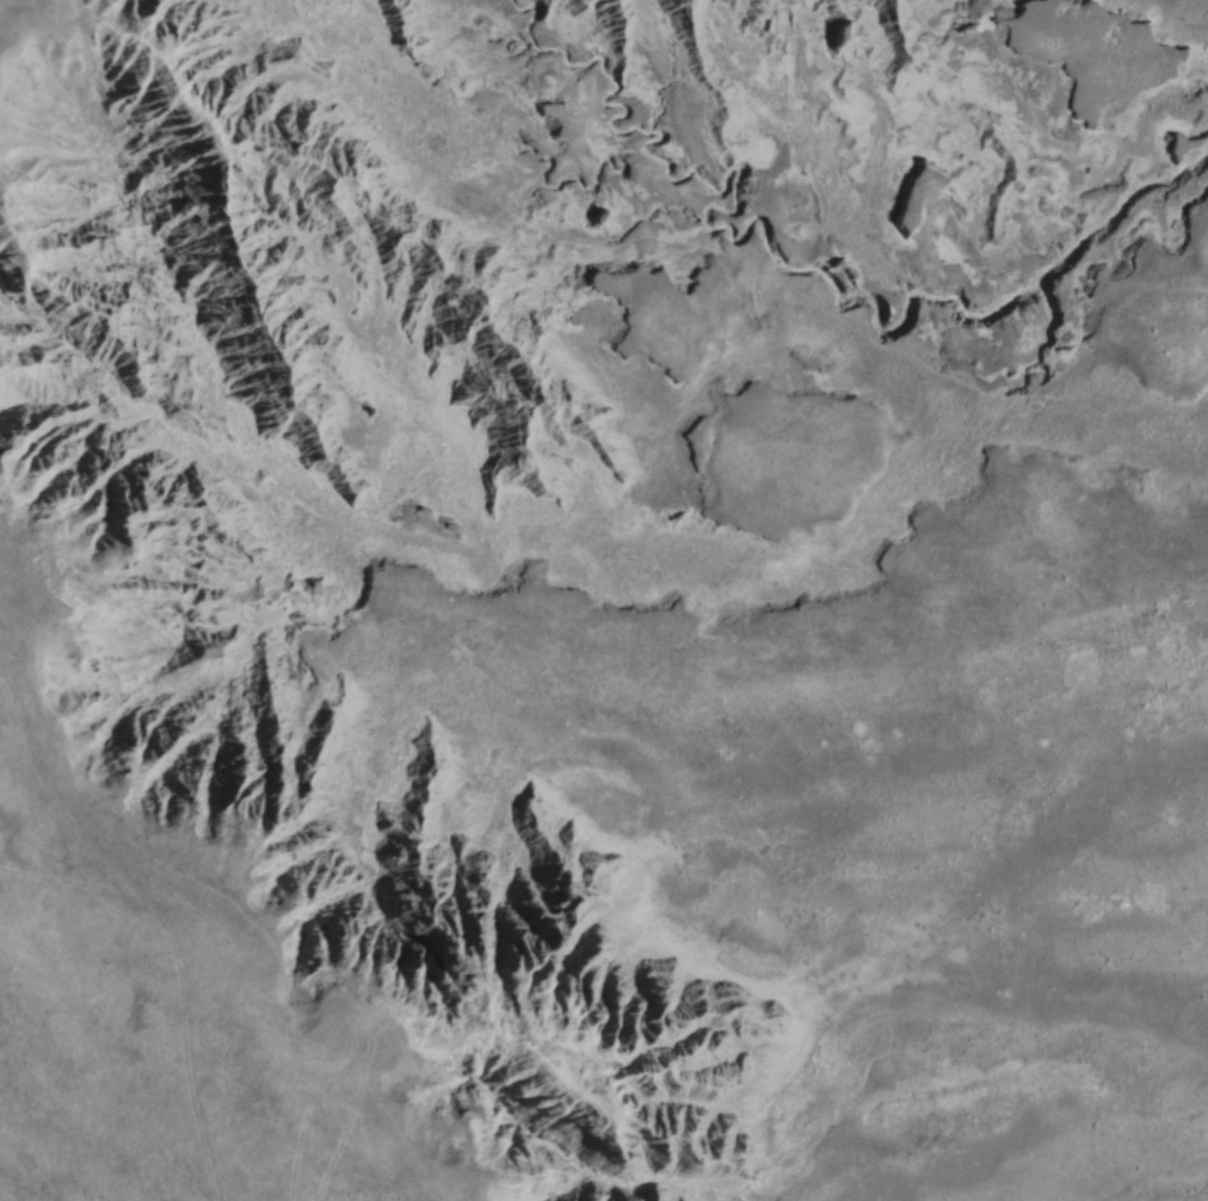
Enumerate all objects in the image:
road: (162, 922)

